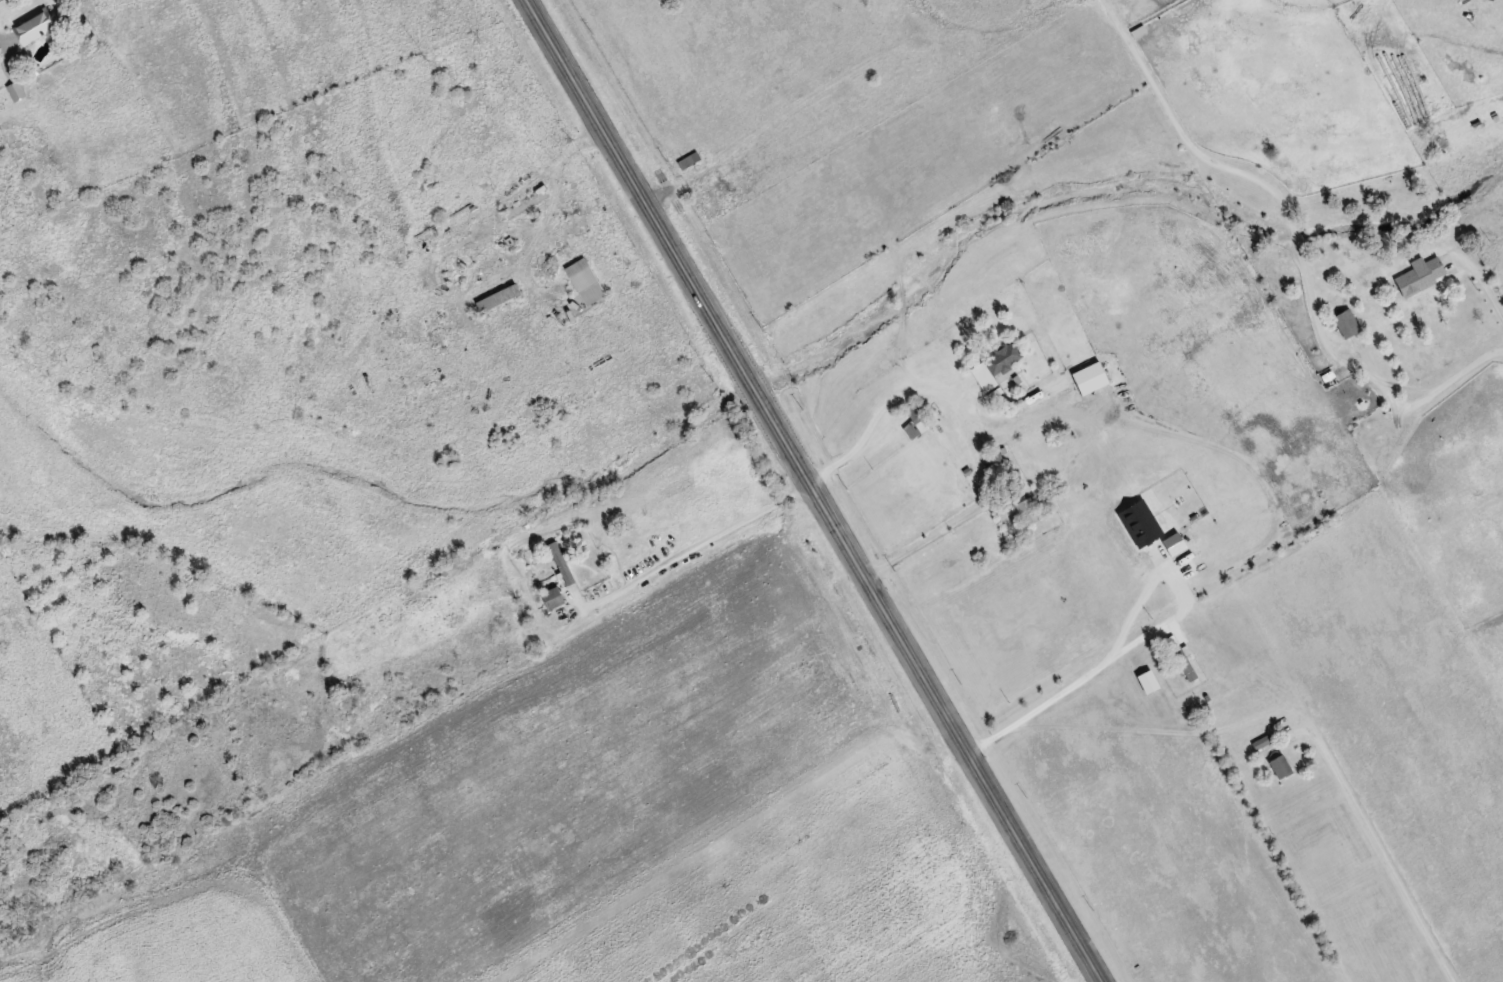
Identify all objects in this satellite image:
building: (37, 27)
building: (16, 90)
building: (689, 160)
building: (1420, 276)
building: (586, 282)
building: (498, 298)
building: (1347, 322)
building: (995, 367)
building: (1091, 378)
road: (818, 490)
building: (1028, 511)
building: (561, 563)
building: (553, 597)
building: (1280, 766)

